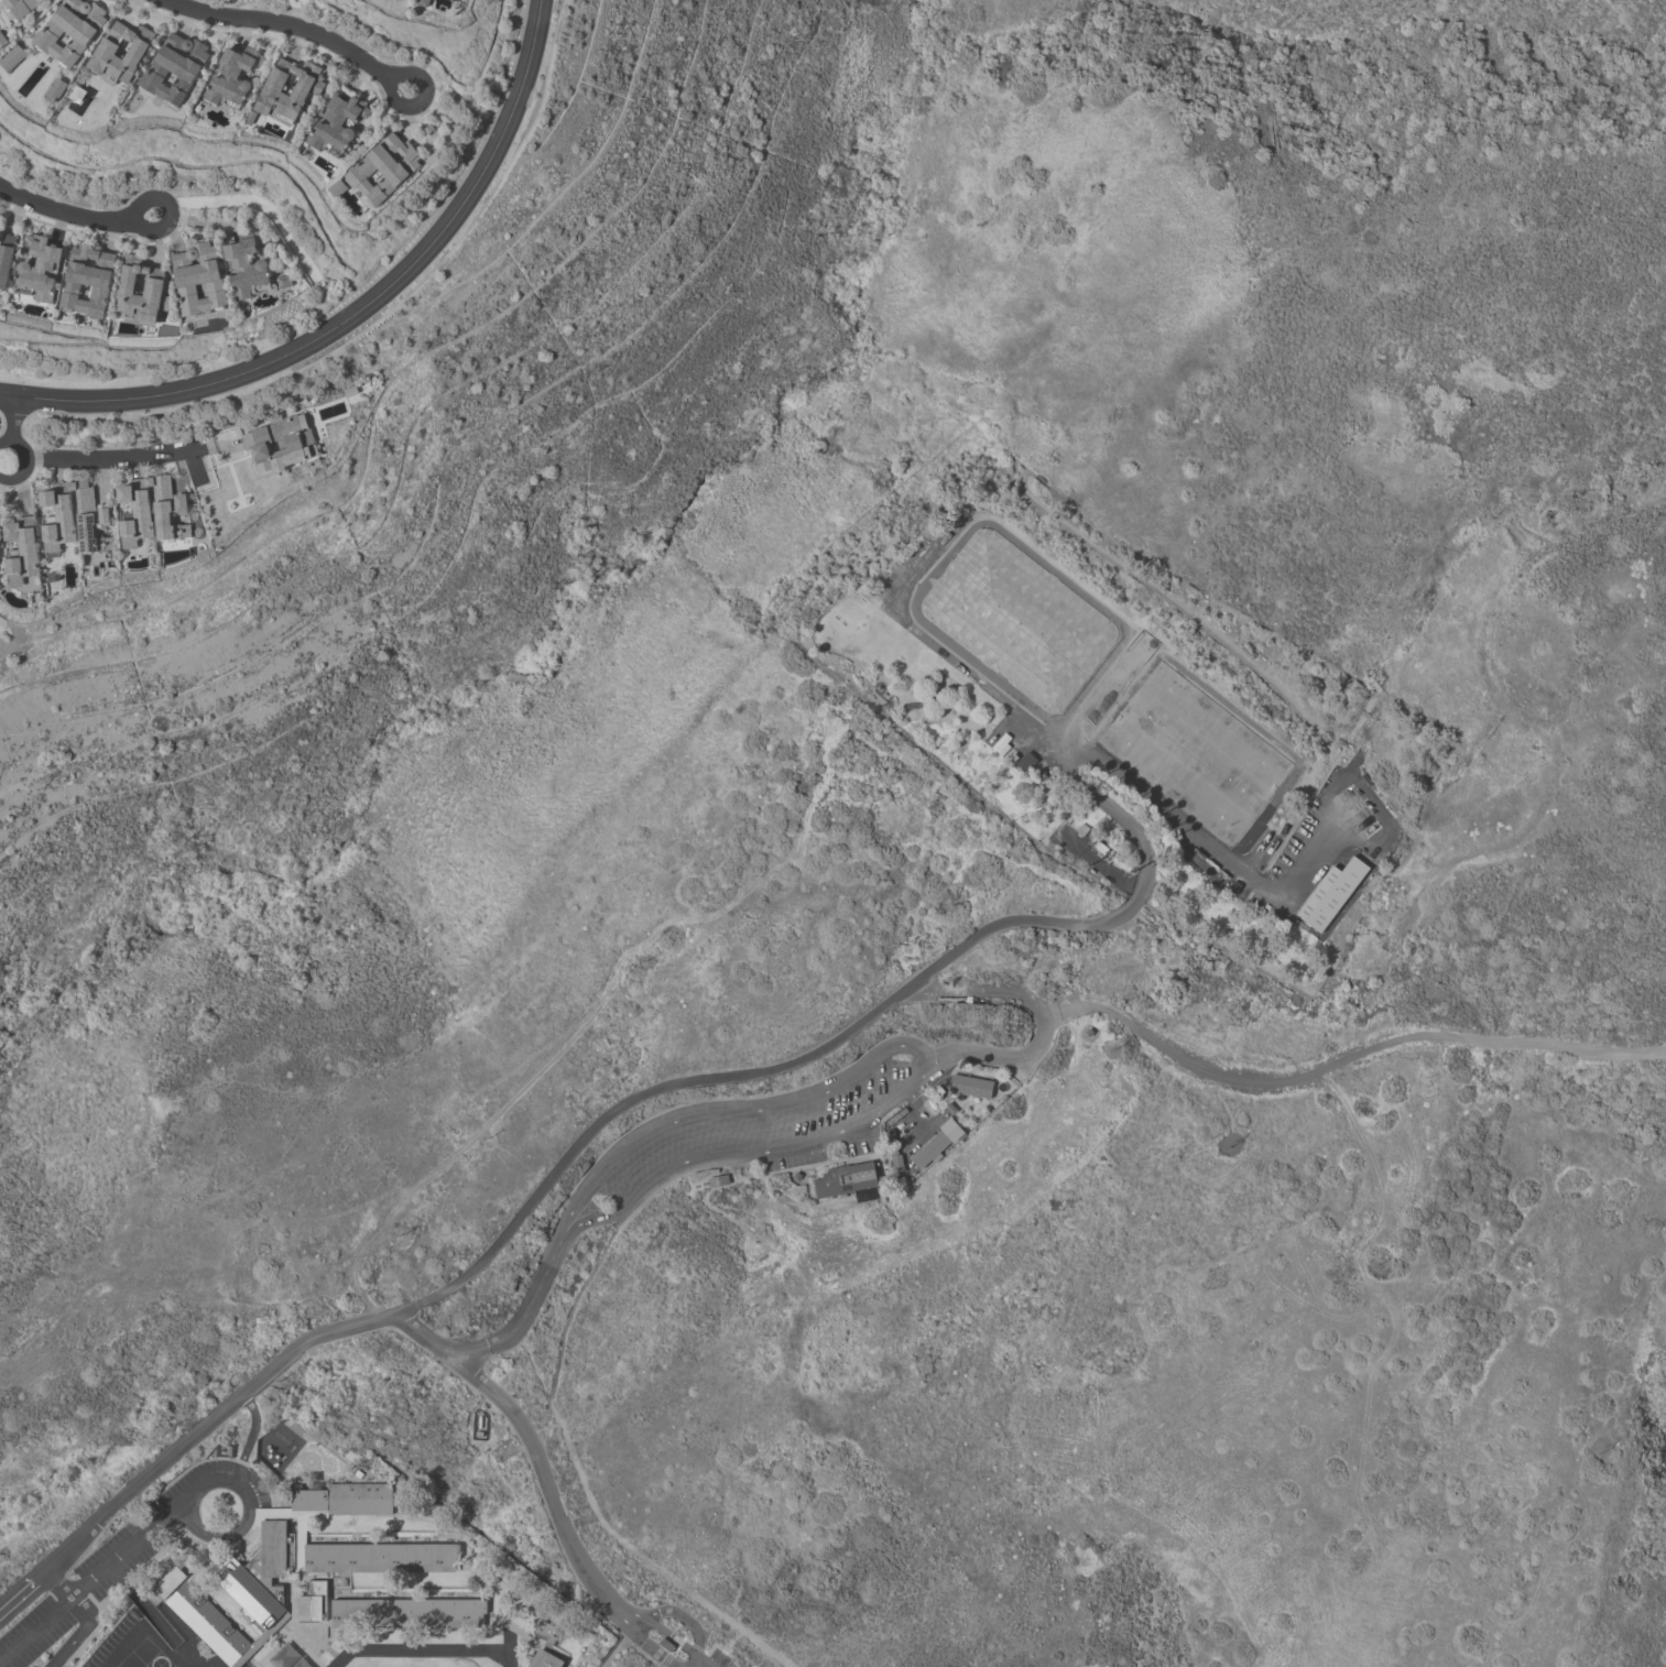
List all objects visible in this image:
building: (423, 2)
building: (21, 7)
building: (70, 30)
road: (284, 30)
building: (2, 40)
building: (107, 48)
building: (12, 57)
building: (175, 67)
building: (232, 76)
building: (309, 86)
building: (56, 89)
road: (422, 97)
building: (337, 124)
building: (384, 168)
road: (63, 210)
road: (168, 210)
building: (6, 259)
building: (247, 265)
building: (40, 269)
building: (198, 279)
building: (88, 280)
building: (284, 281)
building: (152, 292)
road: (355, 313)
road: (13, 418)
building: (280, 444)
road: (127, 455)
road: (26, 457)
building: (0, 509)
building: (141, 511)
building: (57, 517)
building: (90, 519)
road: (967, 524)
building: (22, 549)
building: (1019, 619)
road: (7, 635)
building: (1026, 761)
building: (1333, 894)
road: (965, 945)
road: (1044, 1015)
road: (918, 1050)
road: (1349, 1060)
building: (971, 1086)
building: (972, 1094)
road: (737, 1112)
building: (899, 1115)
parking lot: (758, 1126)
building: (893, 1141)
building: (938, 1142)
road: (773, 1151)
building: (897, 1161)
building: (798, 1176)
building: (719, 1180)
building: (846, 1185)
road: (655, 1192)
road: (564, 1232)
road: (524, 1312)
road: (204, 1429)
road: (252, 1439)
road: (530, 1439)
road: (255, 1512)
road: (612, 1529)
building: (275, 1571)
building: (170, 1581)
road: (87, 1583)
road: (59, 1584)
road: (18, 1601)
road: (146, 1605)
building: (407, 1612)
road: (617, 1612)
road: (684, 1616)
road: (661, 1628)
road: (80, 1633)
road: (653, 1644)
road: (187, 1654)
building: (545, 1660)

